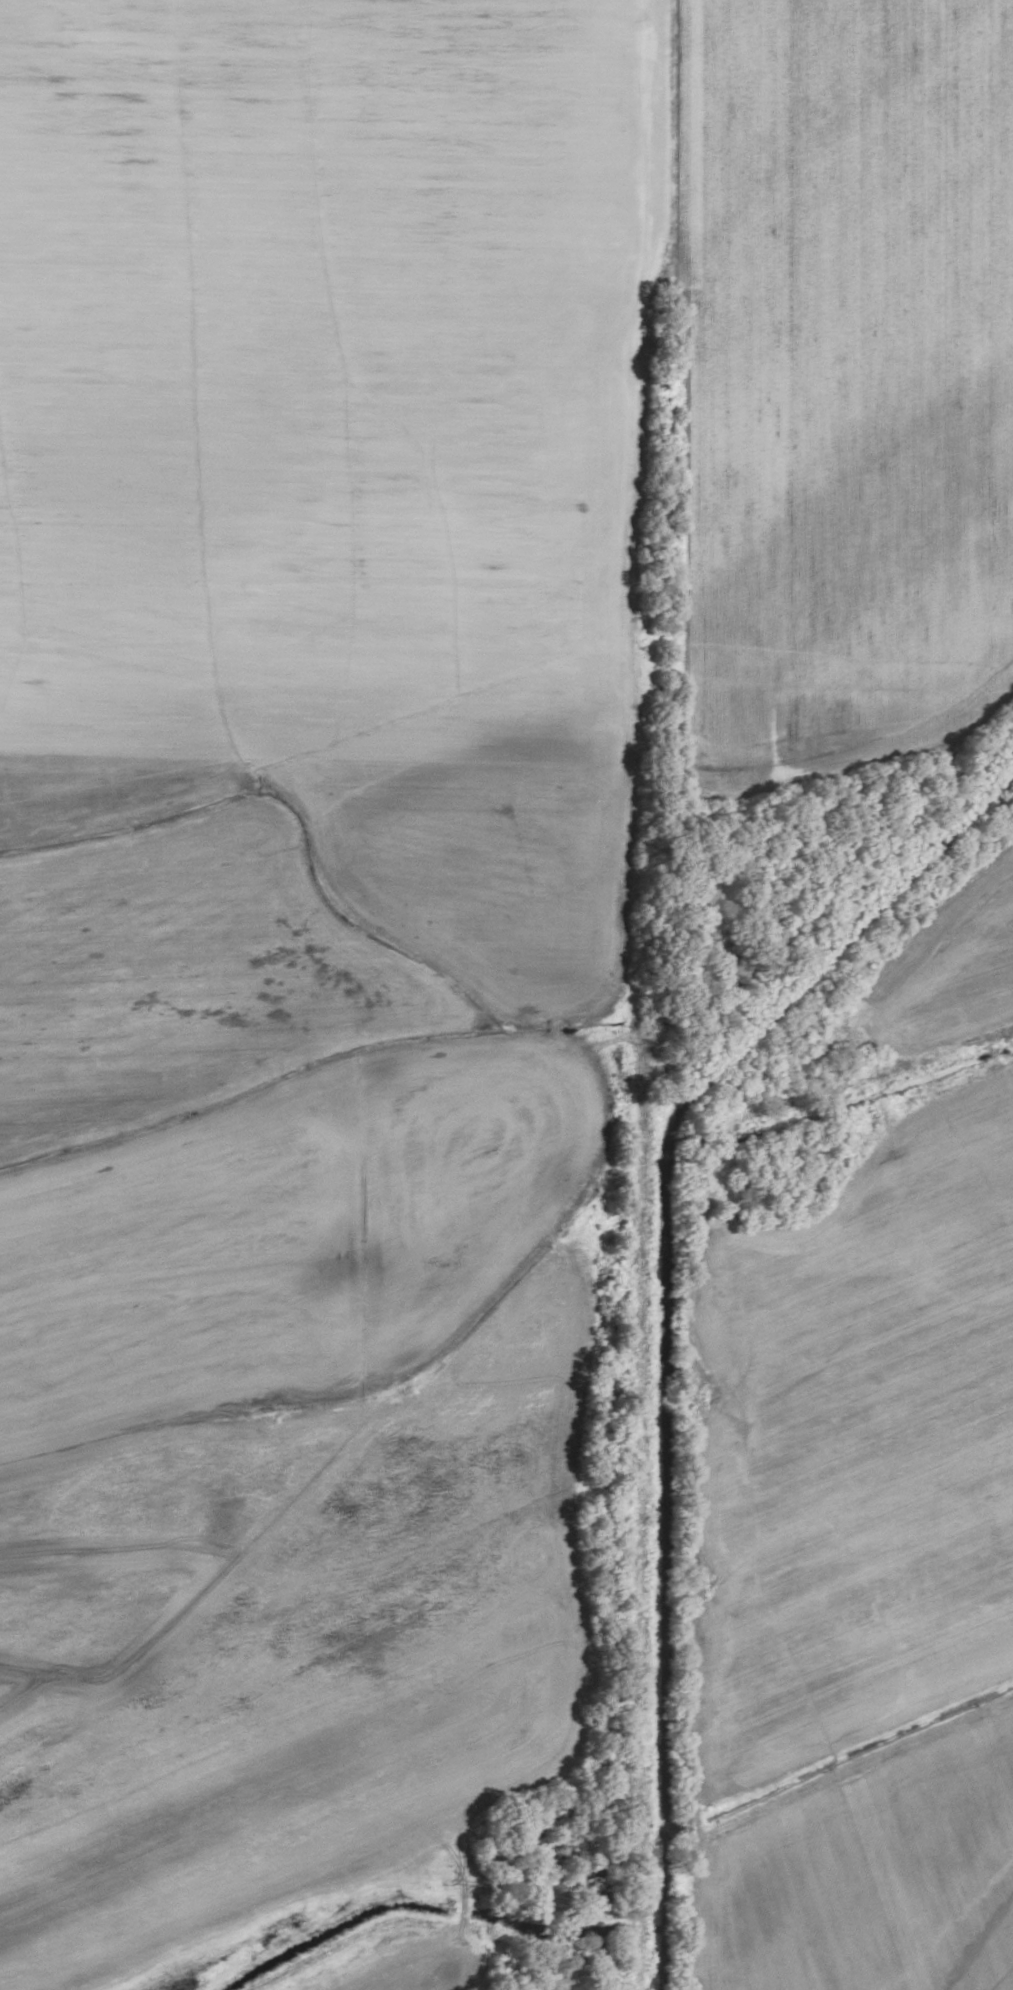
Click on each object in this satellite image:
road: (866, 1752)

